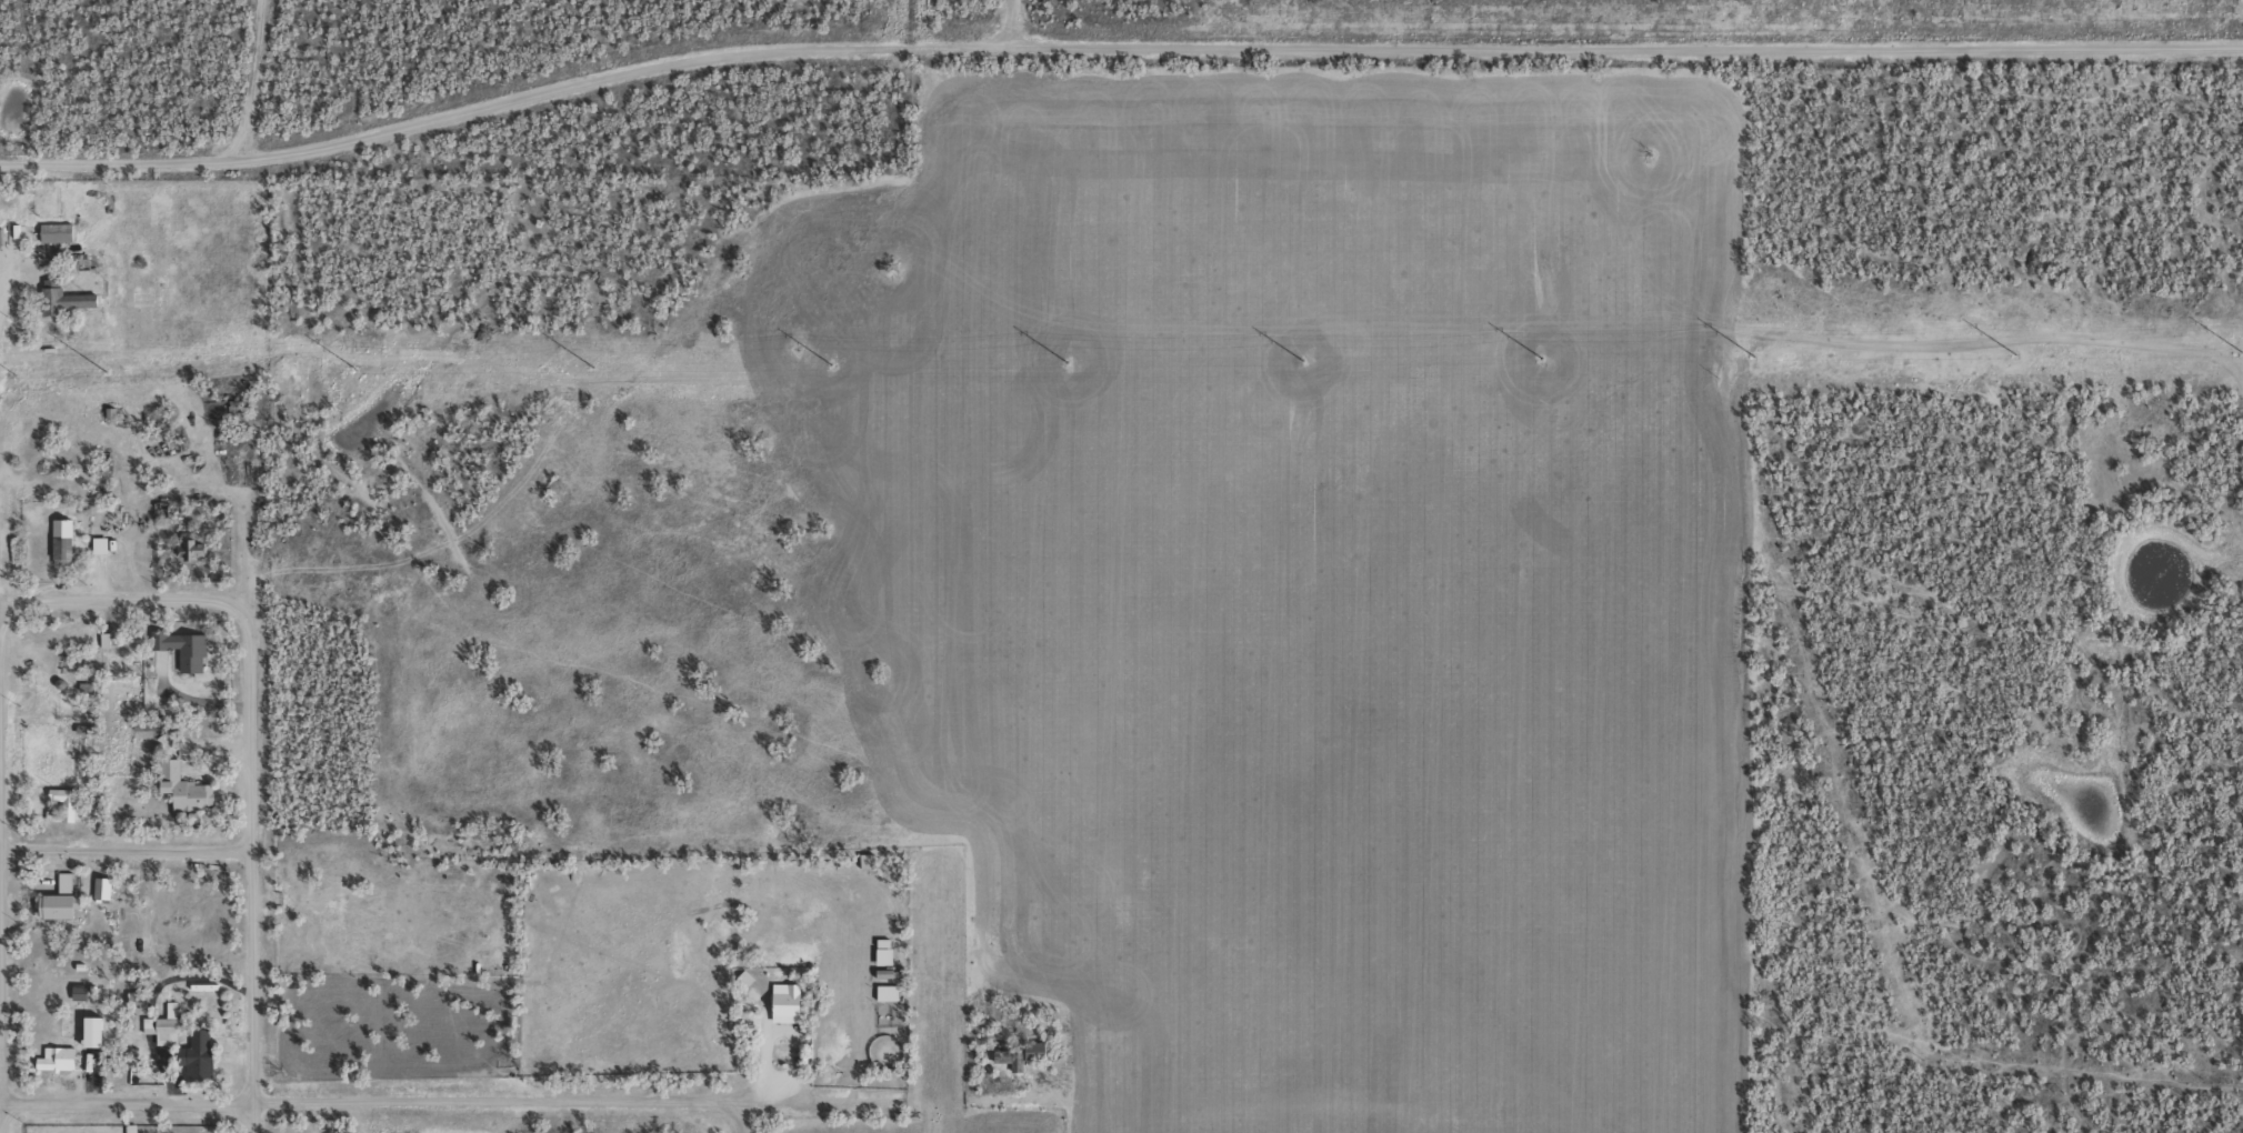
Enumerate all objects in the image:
road: (1014, 24)
road: (1114, 49)
building: (61, 231)
building: (67, 299)
building: (68, 539)
building: (103, 542)
building: (200, 543)
building: (187, 549)
road: (132, 601)
building: (109, 639)
building: (191, 646)
building: (192, 784)
building: (70, 803)
road: (124, 852)
building: (874, 858)
building: (108, 883)
road: (249, 885)
building: (99, 889)
building: (64, 902)
building: (83, 990)
building: (892, 991)
building: (794, 999)
building: (100, 1026)
building: (159, 1030)
building: (173, 1030)
building: (89, 1031)
building: (206, 1042)
building: (1031, 1051)
building: (190, 1054)
building: (1003, 1056)
building: (62, 1057)
road: (424, 1102)
road: (738, 1117)

